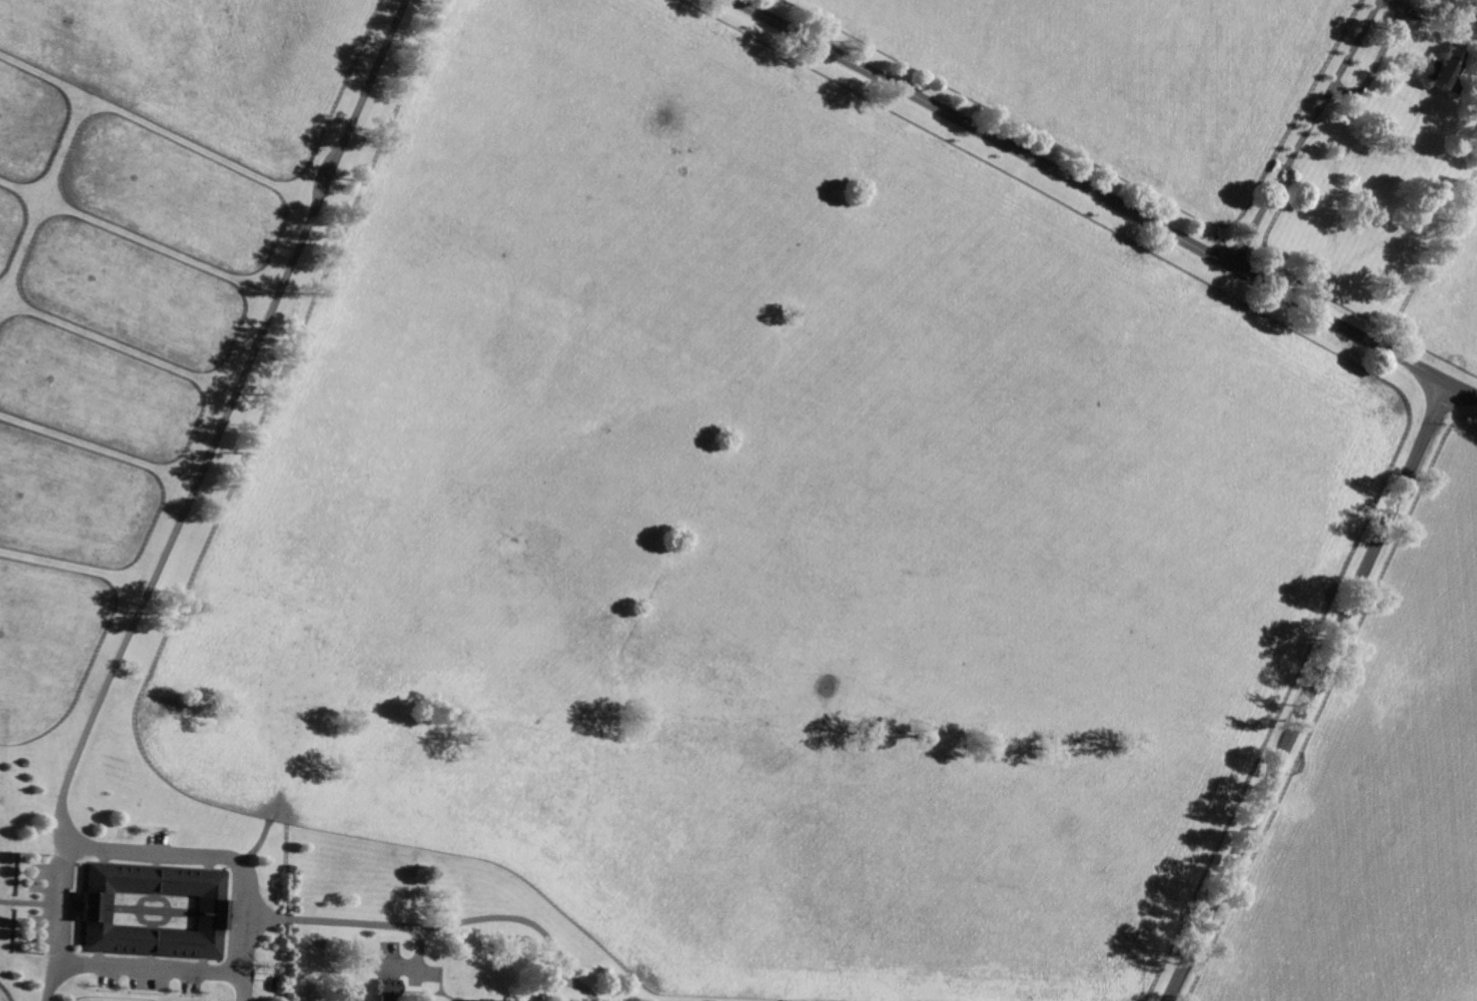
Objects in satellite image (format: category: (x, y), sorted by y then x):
road: (1304, 133)
road: (1332, 147)
road: (1106, 198)
road: (1307, 690)
road: (97, 710)
building: (154, 911)
road: (61, 925)
road: (176, 970)
road: (584, 988)
building: (390, 991)

